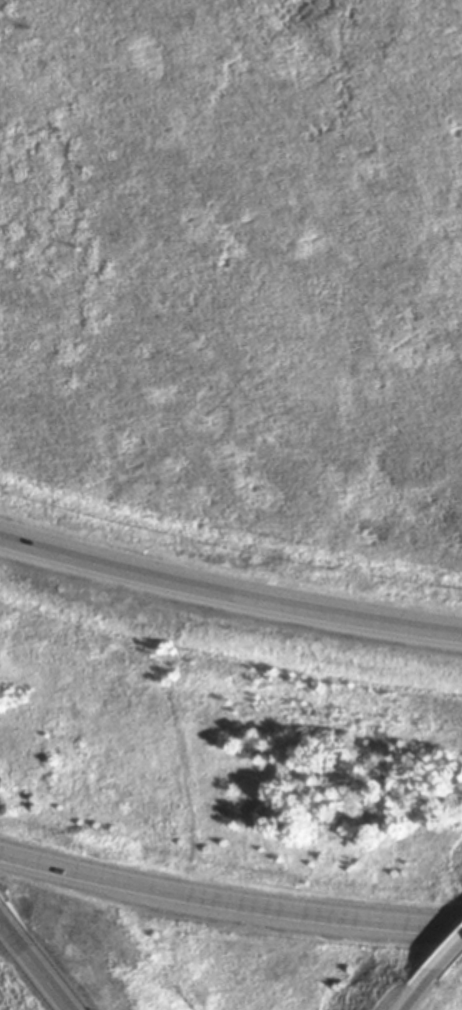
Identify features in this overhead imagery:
road: (228, 598)
road: (228, 904)
road: (39, 959)
road: (439, 975)
road: (413, 1006)

